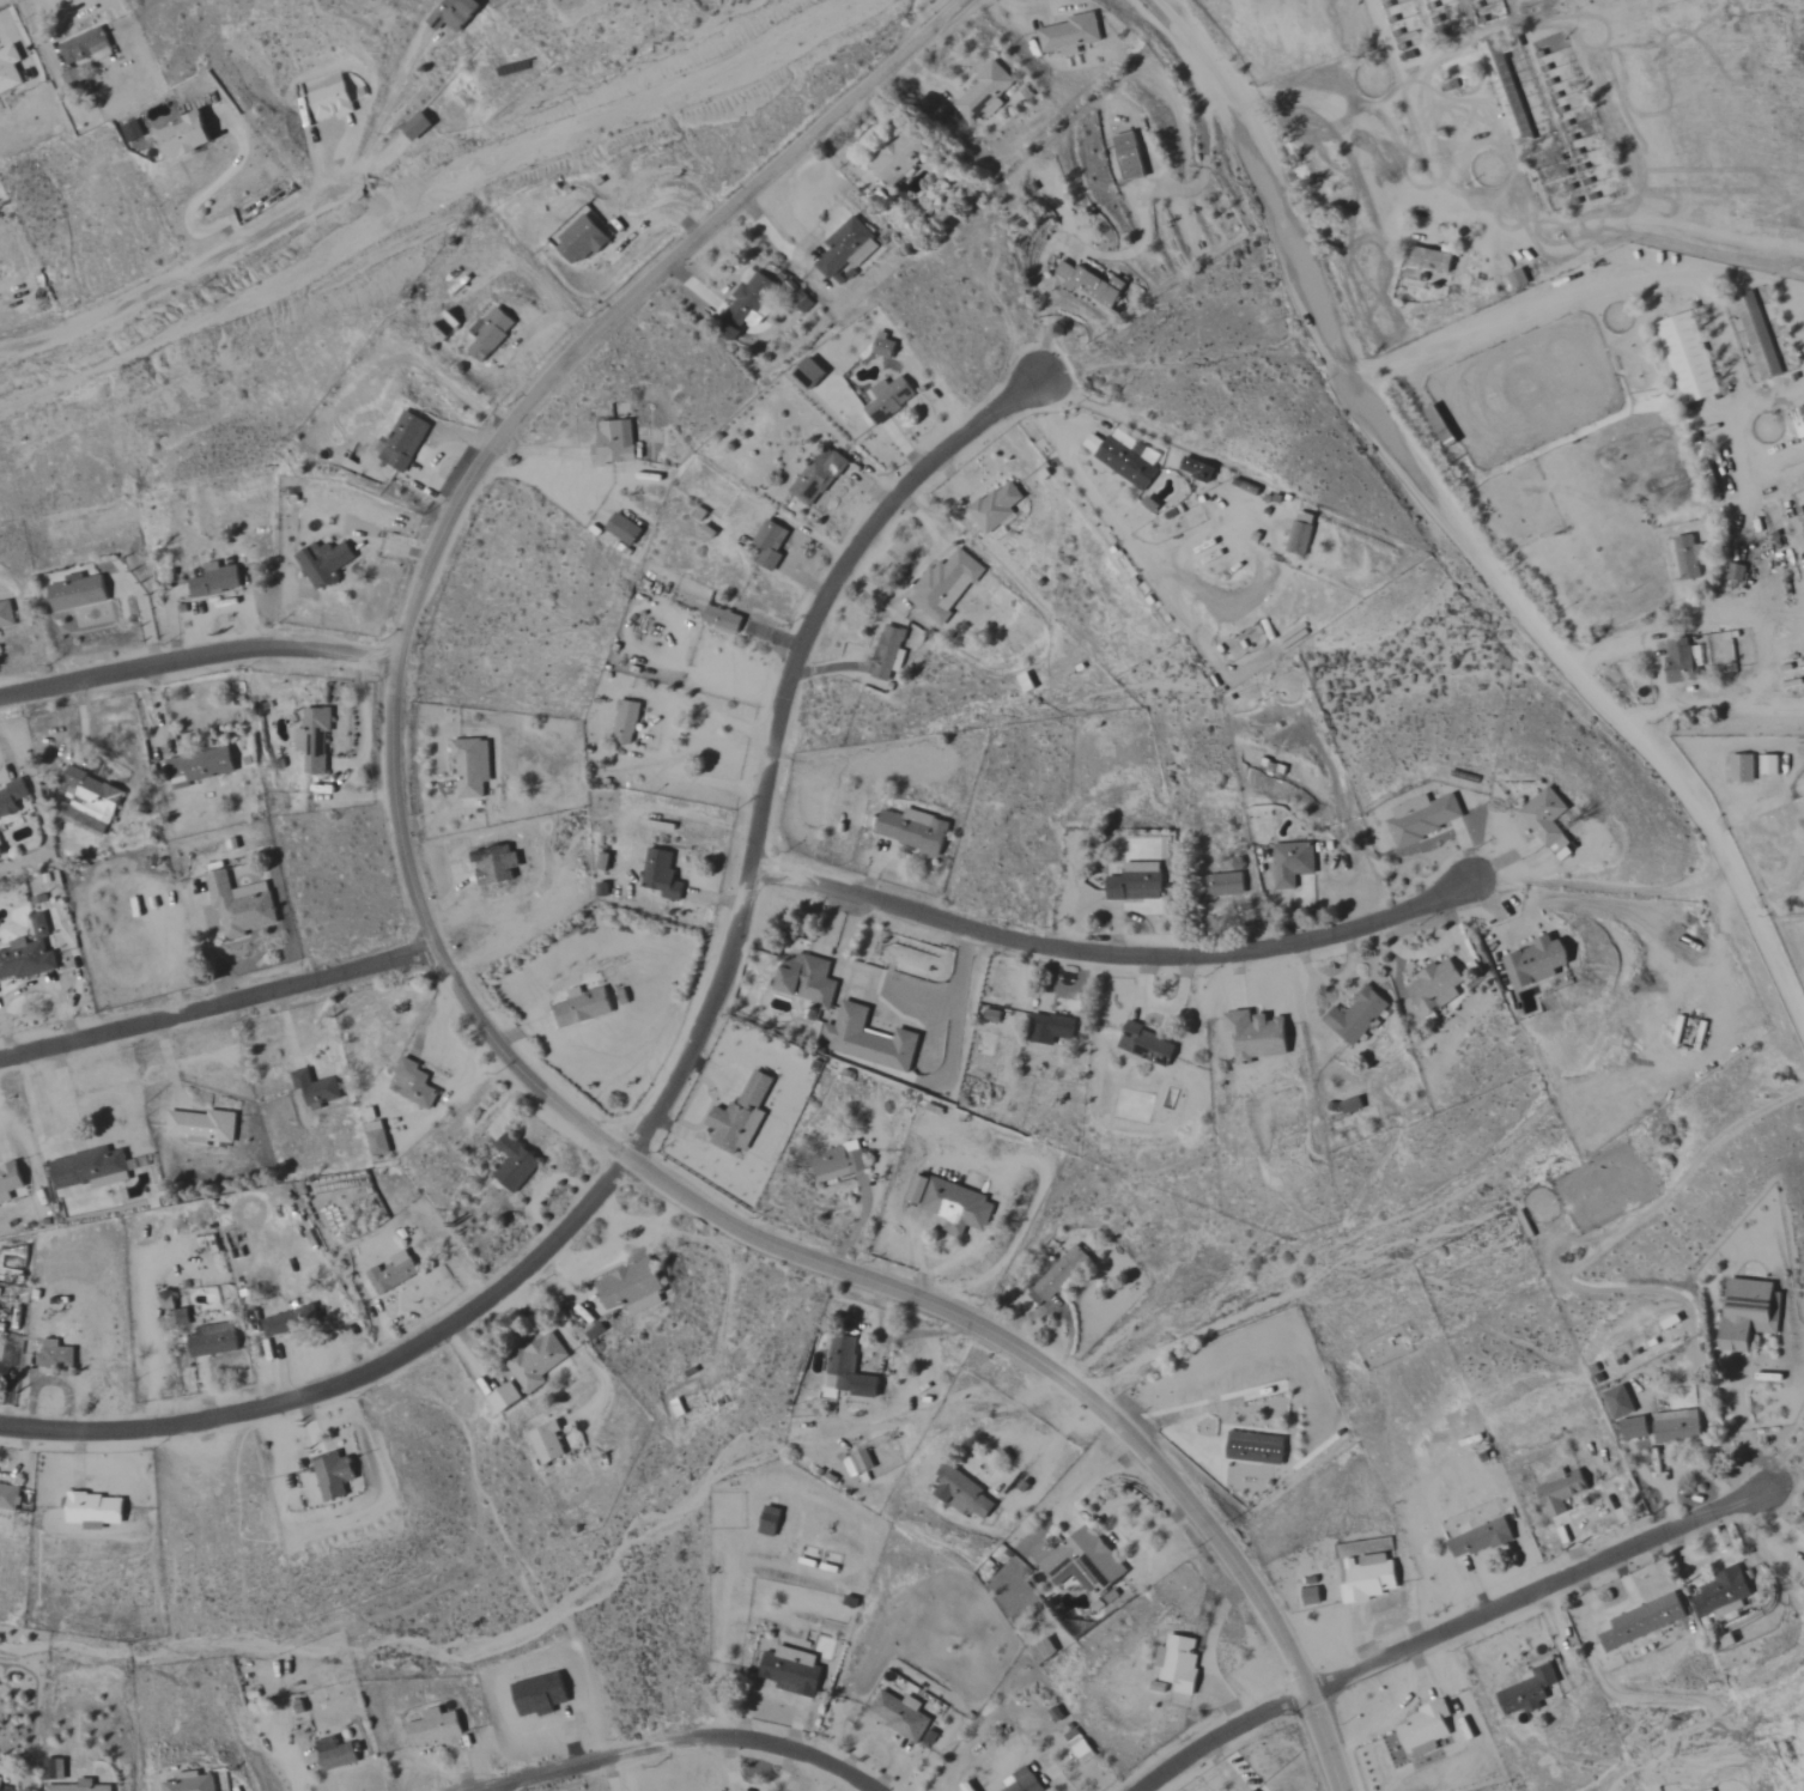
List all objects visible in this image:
road: (1161, 10)
building: (454, 14)
building: (1070, 35)
building: (86, 48)
building: (10, 71)
building: (985, 92)
building: (1508, 93)
building: (330, 99)
road: (376, 119)
building: (418, 127)
building: (132, 132)
building: (184, 136)
road: (1369, 151)
building: (1130, 157)
building: (898, 158)
road: (199, 193)
building: (582, 241)
building: (846, 249)
building: (1432, 260)
building: (1518, 279)
road: (166, 284)
building: (1089, 284)
road: (1577, 287)
building: (751, 300)
building: (491, 334)
building: (1757, 338)
building: (885, 346)
building: (1688, 359)
building: (812, 375)
road: (1774, 397)
building: (891, 399)
building: (1800, 423)
building: (402, 443)
building: (615, 443)
building: (1129, 460)
road: (1748, 461)
building: (1198, 469)
building: (819, 478)
building: (998, 508)
building: (624, 530)
building: (1302, 534)
road: (1460, 535)
building: (771, 545)
building: (1689, 559)
building: (324, 564)
building: (1737, 572)
building: (217, 581)
building: (946, 587)
building: (78, 593)
building: (6, 615)
building: (723, 620)
road: (1764, 645)
building: (891, 654)
road: (198, 656)
road: (1648, 660)
building: (1682, 661)
building: (626, 721)
road: (662, 737)
building: (315, 739)
building: (1769, 764)
building: (202, 766)
building: (472, 766)
building: (1742, 767)
building: (92, 795)
building: (12, 799)
road: (1751, 812)
building: (1425, 818)
building: (1548, 820)
building: (913, 830)
building: (603, 861)
building: (1293, 863)
road: (1802, 868)
building: (662, 874)
building: (1137, 882)
building: (1227, 884)
building: (242, 905)
building: (29, 953)
road: (1108, 954)
building: (1538, 963)
building: (809, 979)
building: (1436, 986)
road: (952, 989)
road: (461, 995)
road: (217, 1004)
building: (584, 1006)
building: (1359, 1015)
building: (1052, 1028)
building: (1257, 1036)
building: (868, 1039)
building: (1147, 1044)
road: (679, 1074)
building: (415, 1083)
building: (316, 1089)
building: (741, 1116)
building: (204, 1127)
building: (377, 1139)
building: (514, 1162)
building: (839, 1162)
building: (92, 1168)
building: (10, 1182)
building: (917, 1189)
building: (959, 1207)
building: (391, 1270)
building: (1057, 1276)
building: (633, 1287)
building: (1750, 1313)
building: (182, 1317)
building: (283, 1322)
building: (1672, 1323)
building: (212, 1338)
building: (53, 1354)
building: (539, 1365)
building: (849, 1370)
building: (506, 1398)
building: (1620, 1402)
building: (1676, 1425)
road: (1747, 1425)
building: (1635, 1428)
building: (548, 1444)
building: (1256, 1449)
building: (862, 1462)
building: (334, 1474)
building: (1560, 1489)
building: (8, 1494)
building: (962, 1494)
building: (95, 1507)
building: (770, 1522)
building: (1480, 1537)
building: (1081, 1561)
building: (1371, 1577)
building: (1721, 1591)
building: (1312, 1597)
building: (1642, 1620)
road: (1451, 1633)
building: (1044, 1651)
building: (1179, 1664)
building: (792, 1671)
building: (1526, 1689)
building: (903, 1716)
building: (1423, 1726)
building: (435, 1728)
road: (679, 1742)
building: (1080, 1746)
building: (336, 1754)
building: (57, 1769)
road: (608, 1774)
building: (1024, 1781)
building: (1, 1783)
building: (193, 1783)
building: (79, 1786)
building: (1252, 1790)
building: (1713, 1790)

